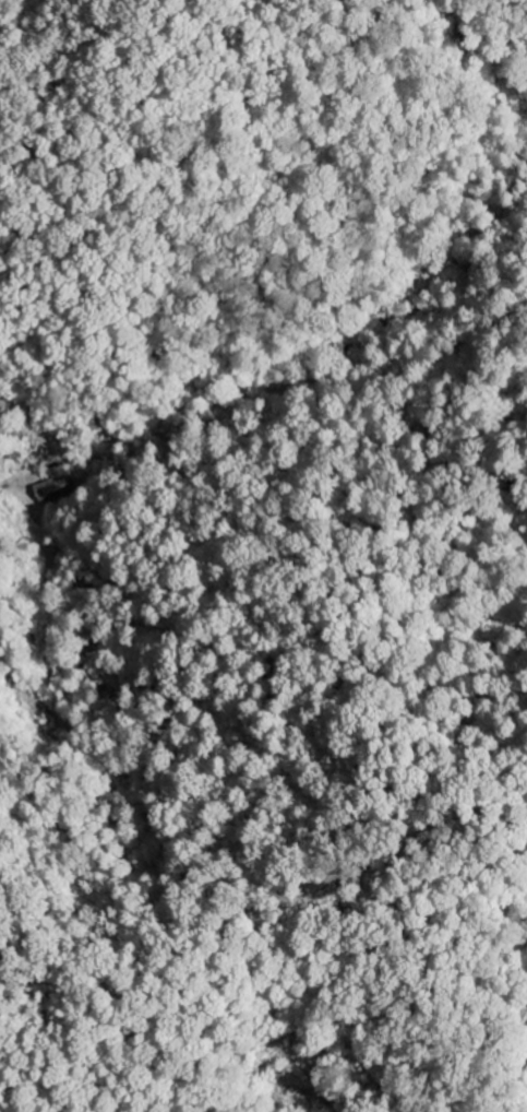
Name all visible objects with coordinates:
building: (51, 489)

